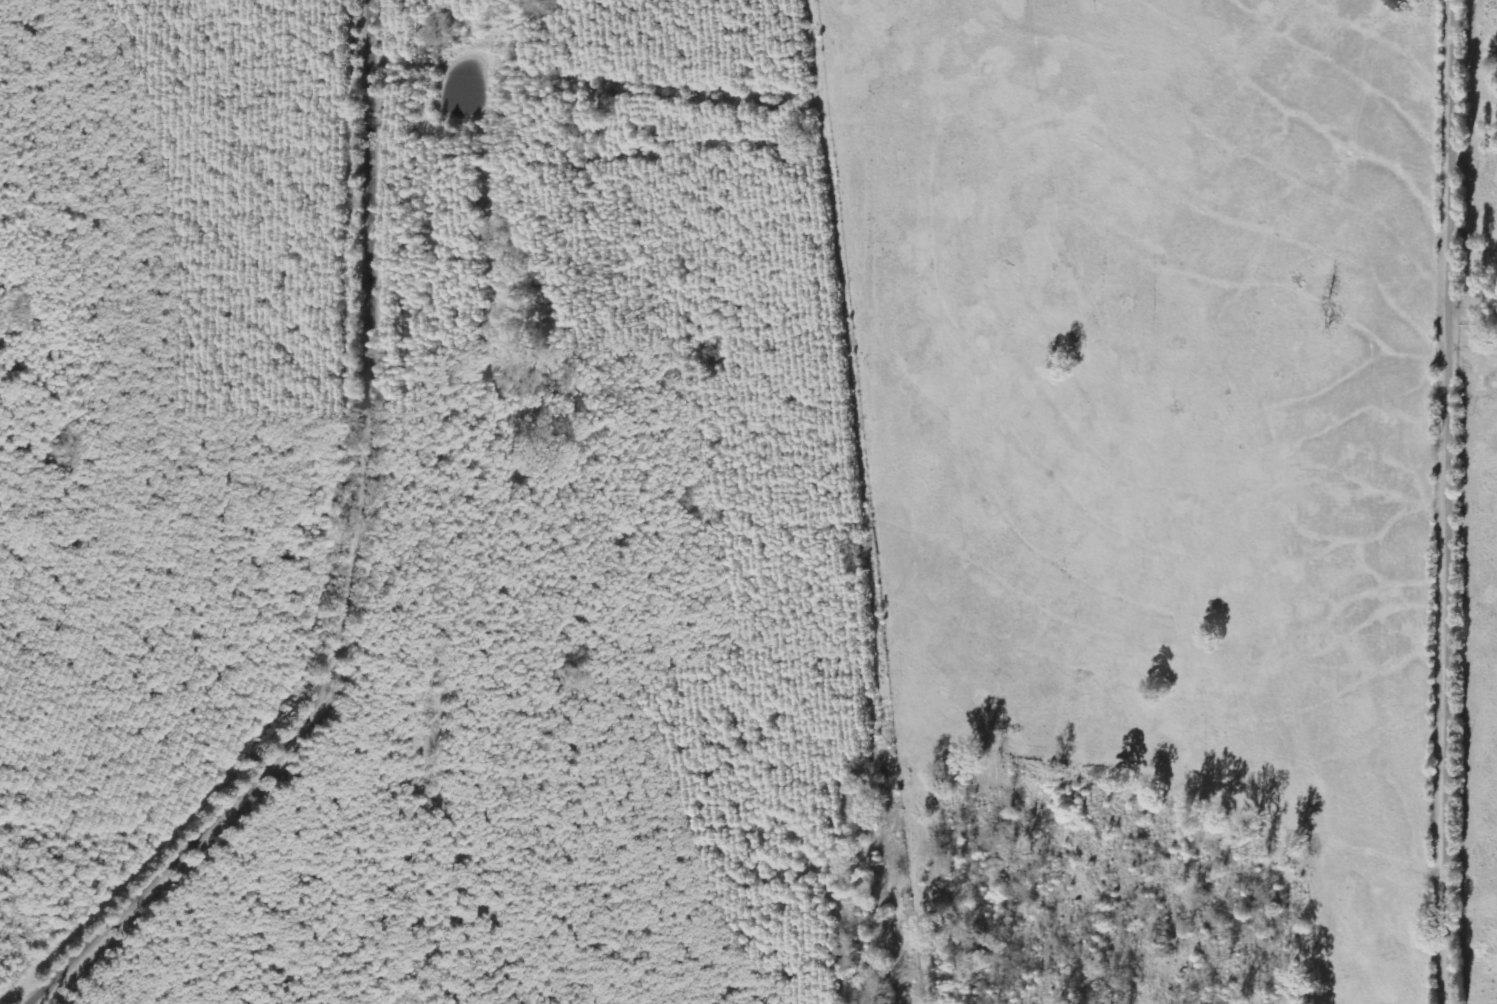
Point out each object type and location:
road: (1457, 502)

